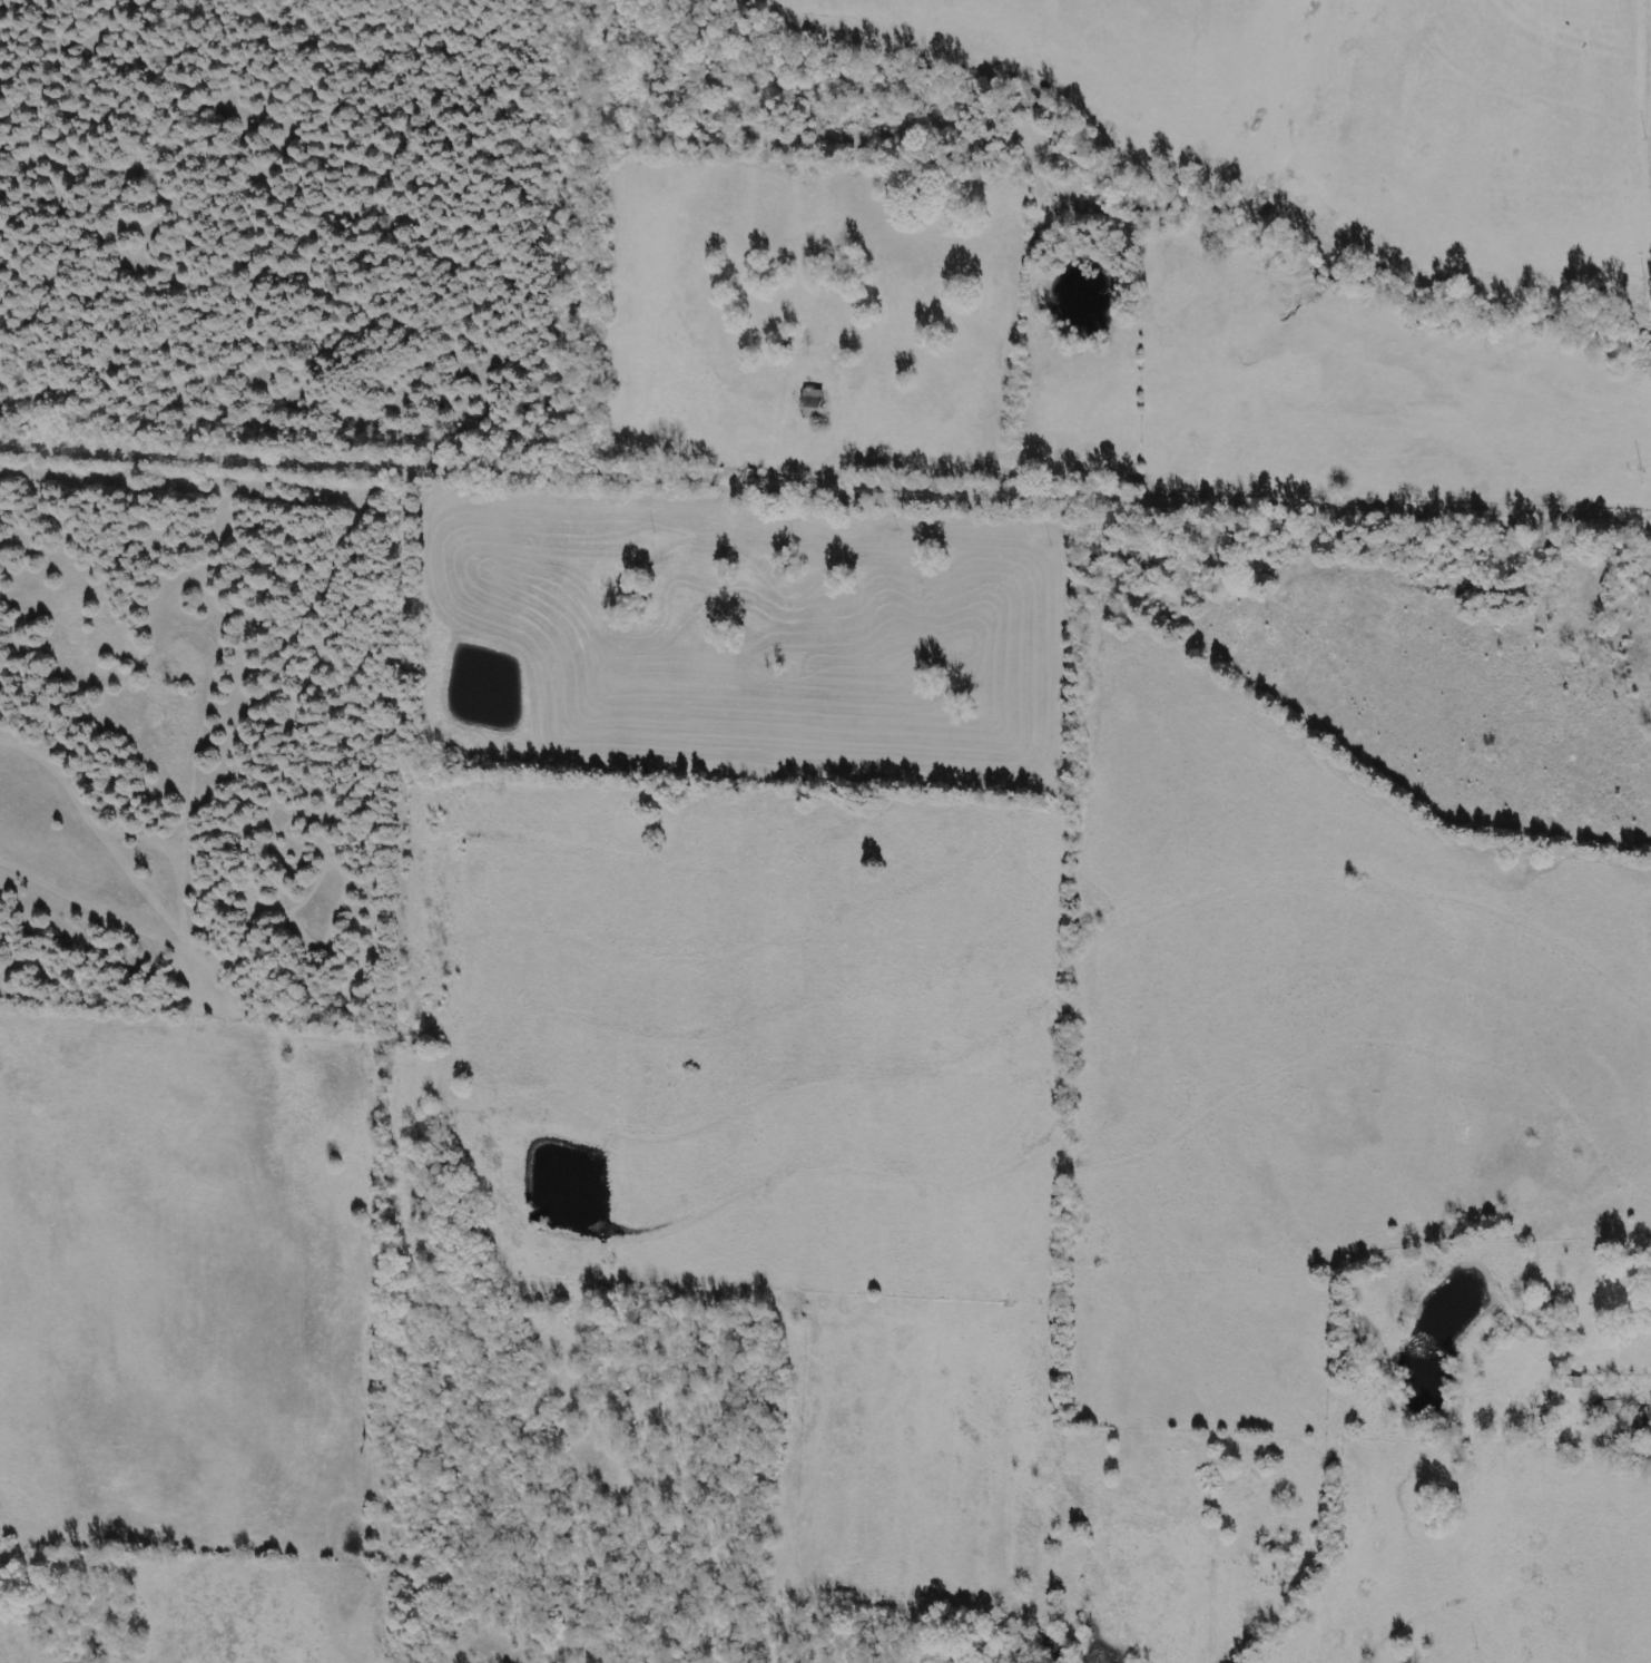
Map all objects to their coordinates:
building: (816, 403)
road: (825, 473)

